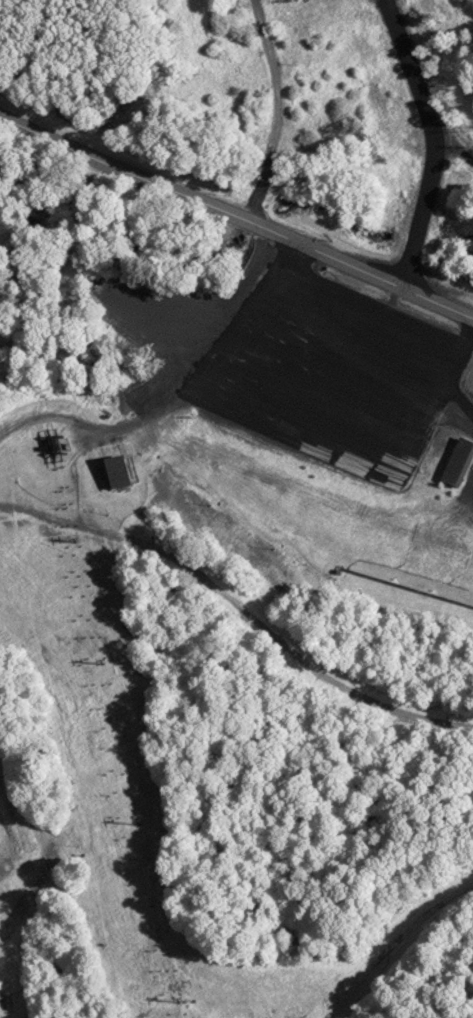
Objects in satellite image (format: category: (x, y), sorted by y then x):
road: (429, 143)
road: (452, 147)
road: (237, 215)
parking lot: (323, 381)
building: (455, 462)
building: (112, 471)
parking lot: (470, 498)
aerialway pylon: (68, 536)
ski resort: (231, 570)
aerialway pylon: (96, 662)
aerialway pylon: (129, 812)
aerialway pylon: (171, 999)

